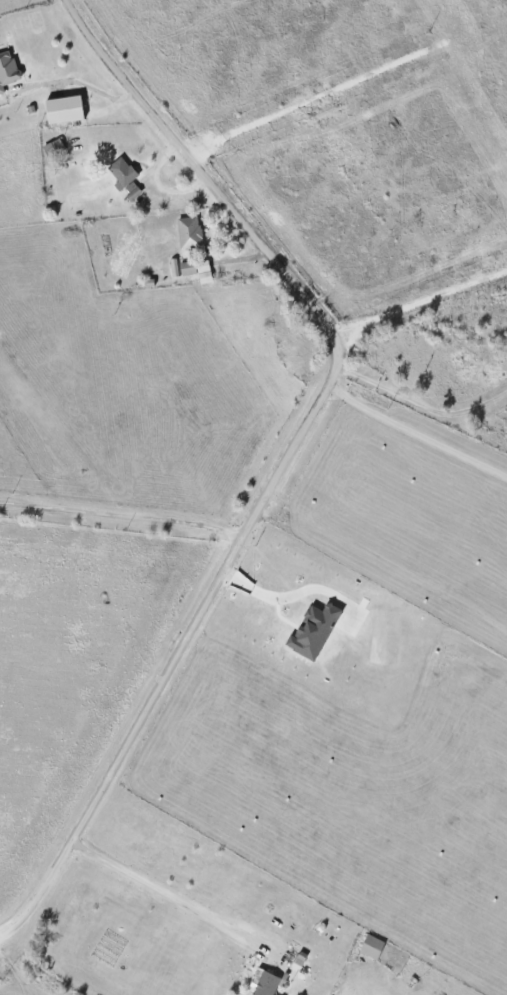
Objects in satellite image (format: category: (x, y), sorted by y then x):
building: (7, 69)
road: (80, 83)
building: (64, 109)
building: (122, 172)
building: (132, 192)
building: (189, 232)
road: (462, 416)
road: (417, 433)
road: (291, 454)
road: (121, 525)
building: (313, 631)
road: (164, 892)
building: (372, 946)
building: (264, 983)

